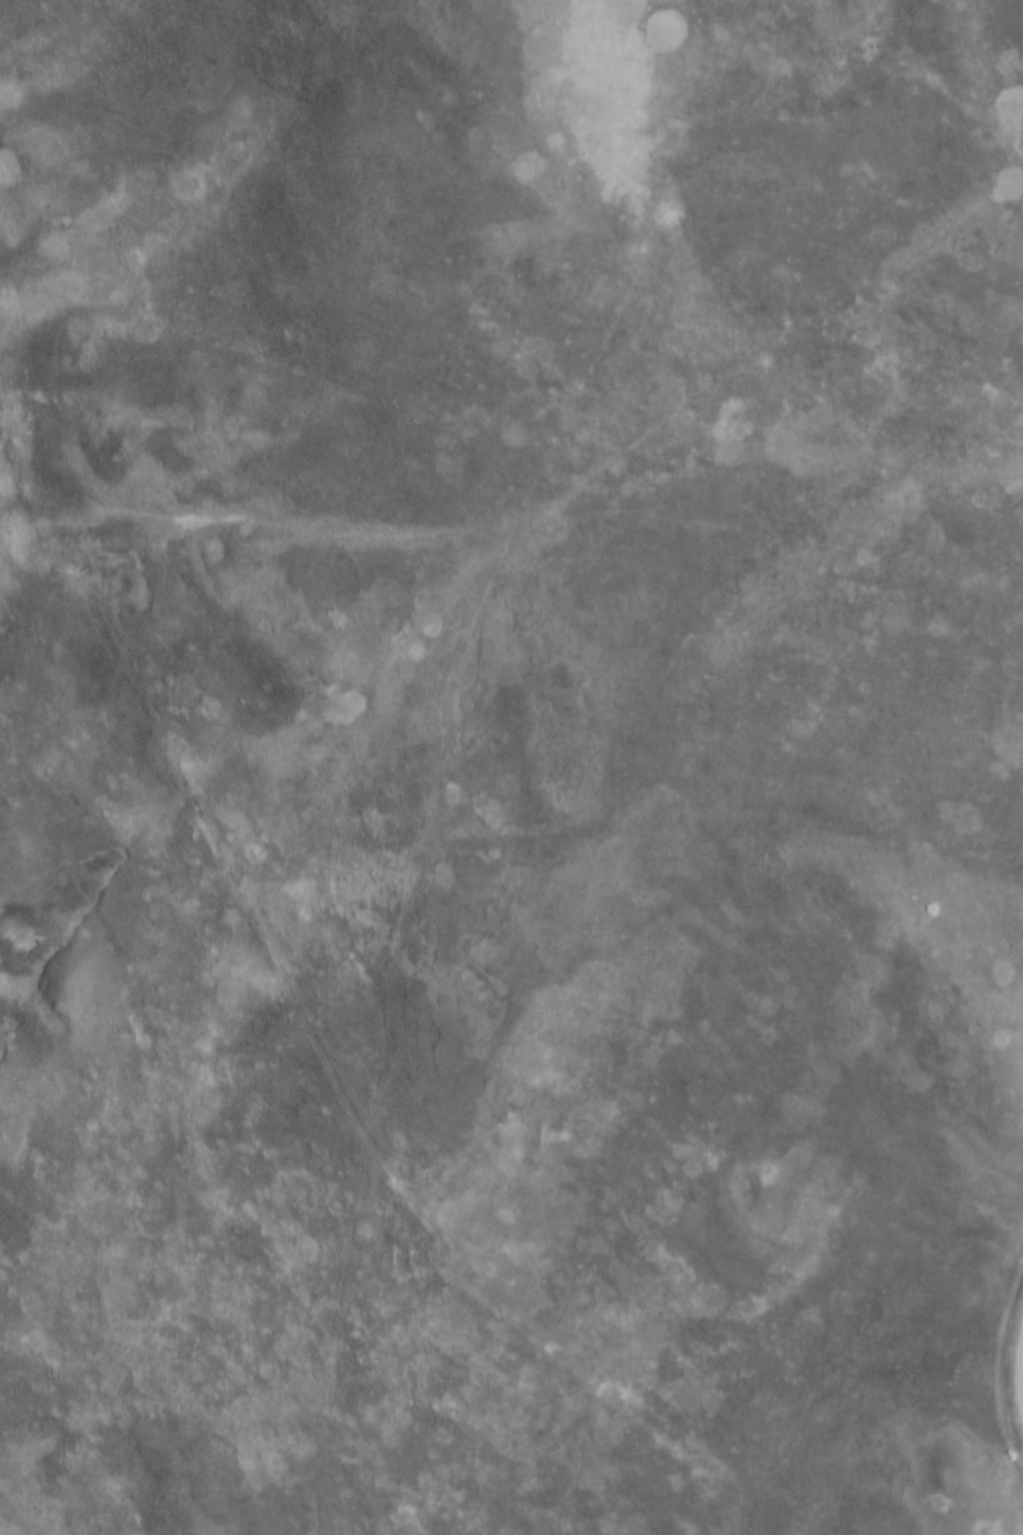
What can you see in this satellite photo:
road: (1021, 1365)

